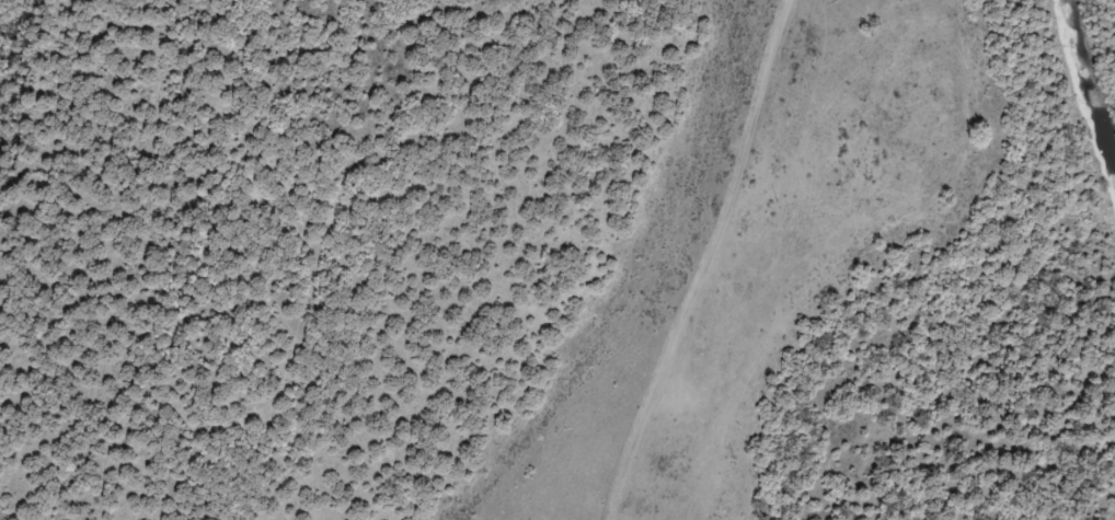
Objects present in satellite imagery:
road: (756, 255)

